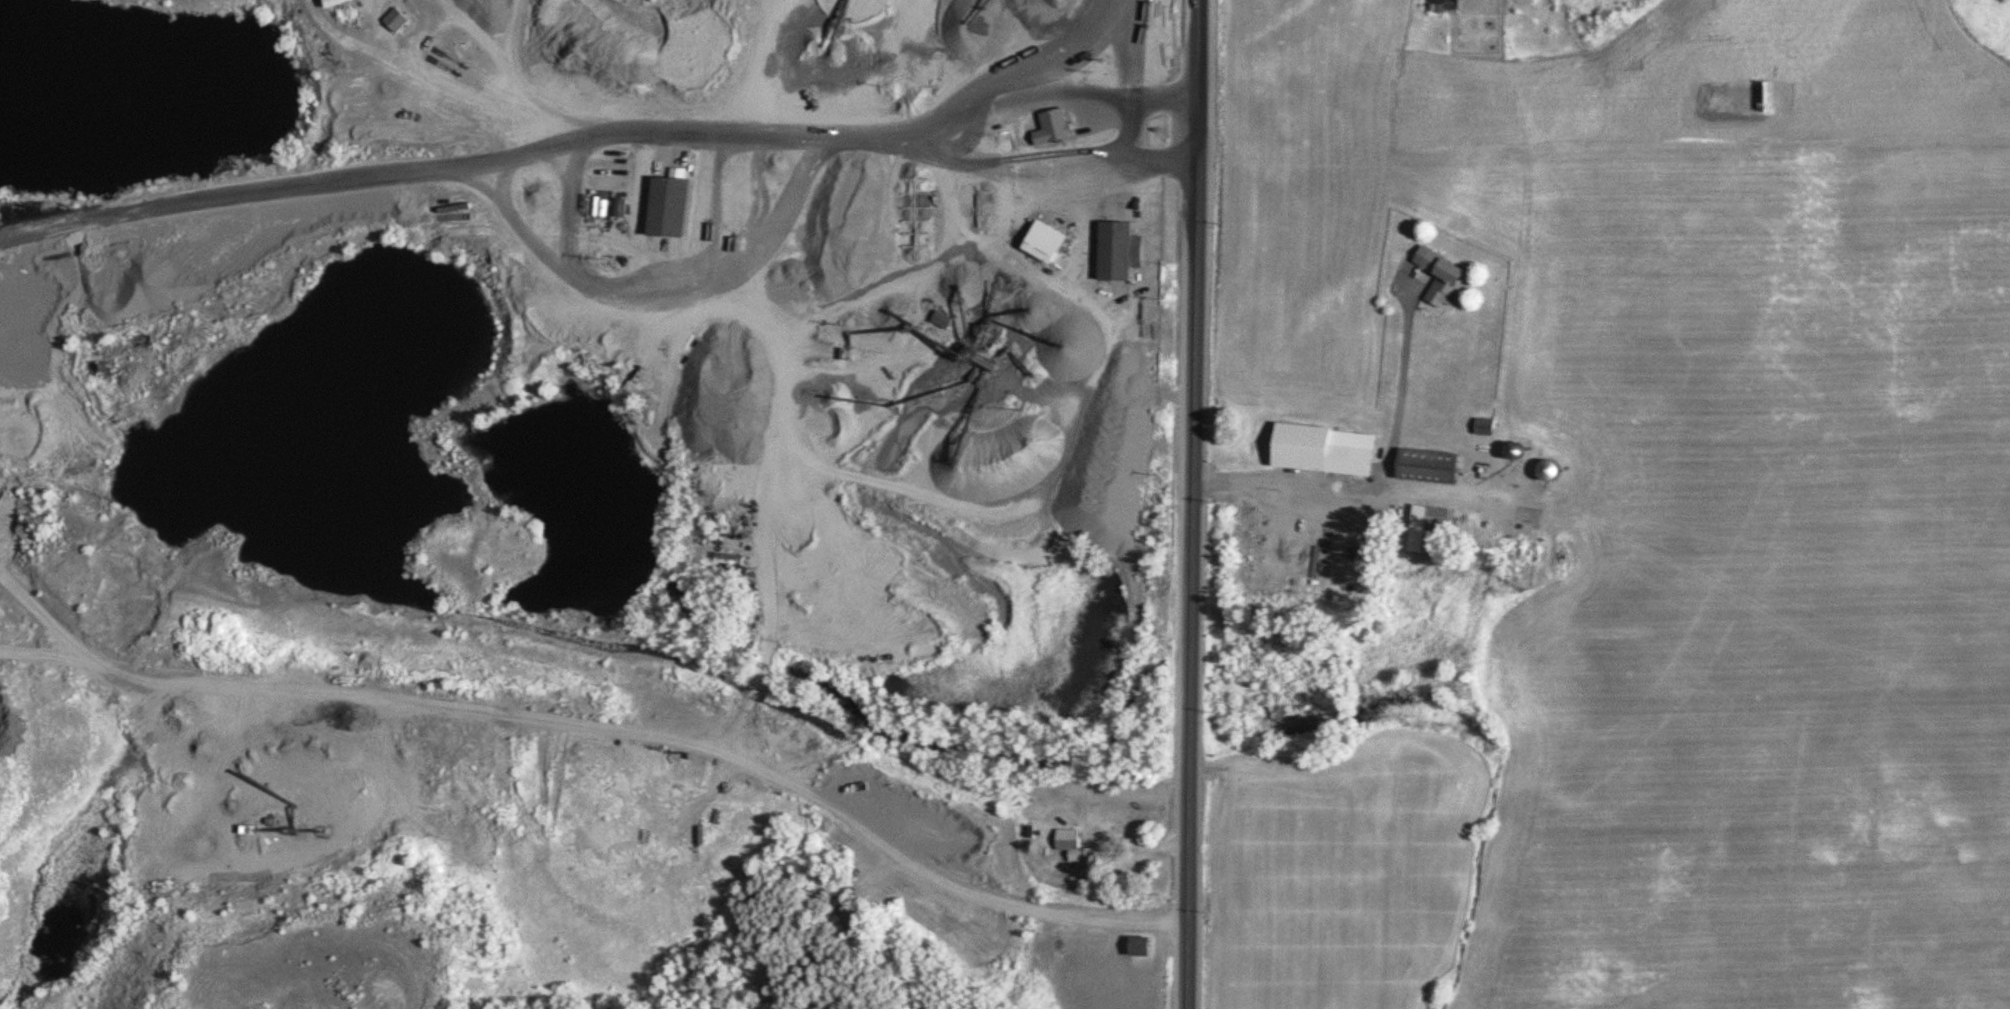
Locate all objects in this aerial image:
building: (337, 3)
building: (399, 20)
building: (1062, 126)
building: (672, 206)
building: (1053, 242)
building: (1125, 251)
building: (1449, 281)
quarry: (606, 348)
building: (1490, 426)
building: (1330, 449)
building: (1435, 467)
building: (1555, 470)
road: (1194, 504)
building: (1433, 536)
building: (1079, 849)
building: (1146, 947)

